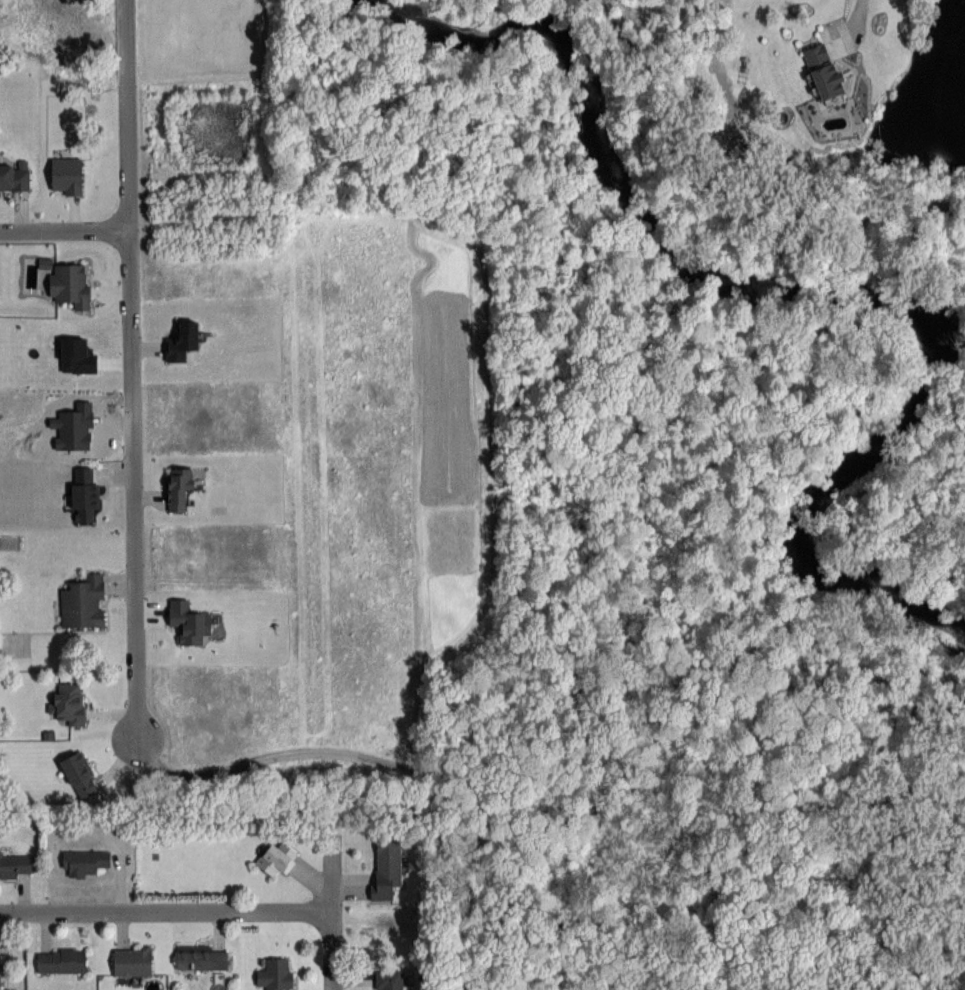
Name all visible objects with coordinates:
road: (861, 18)
building: (822, 72)
building: (14, 178)
road: (64, 230)
building: (69, 284)
river: (822, 292)
road: (131, 371)
building: (178, 487)
building: (84, 495)
building: (83, 602)
building: (69, 703)
building: (80, 774)
building: (276, 858)
building: (84, 861)
building: (15, 864)
building: (386, 867)
road: (166, 909)
road: (333, 932)
building: (202, 956)
building: (61, 960)
building: (132, 961)
building: (275, 973)
building: (389, 979)

